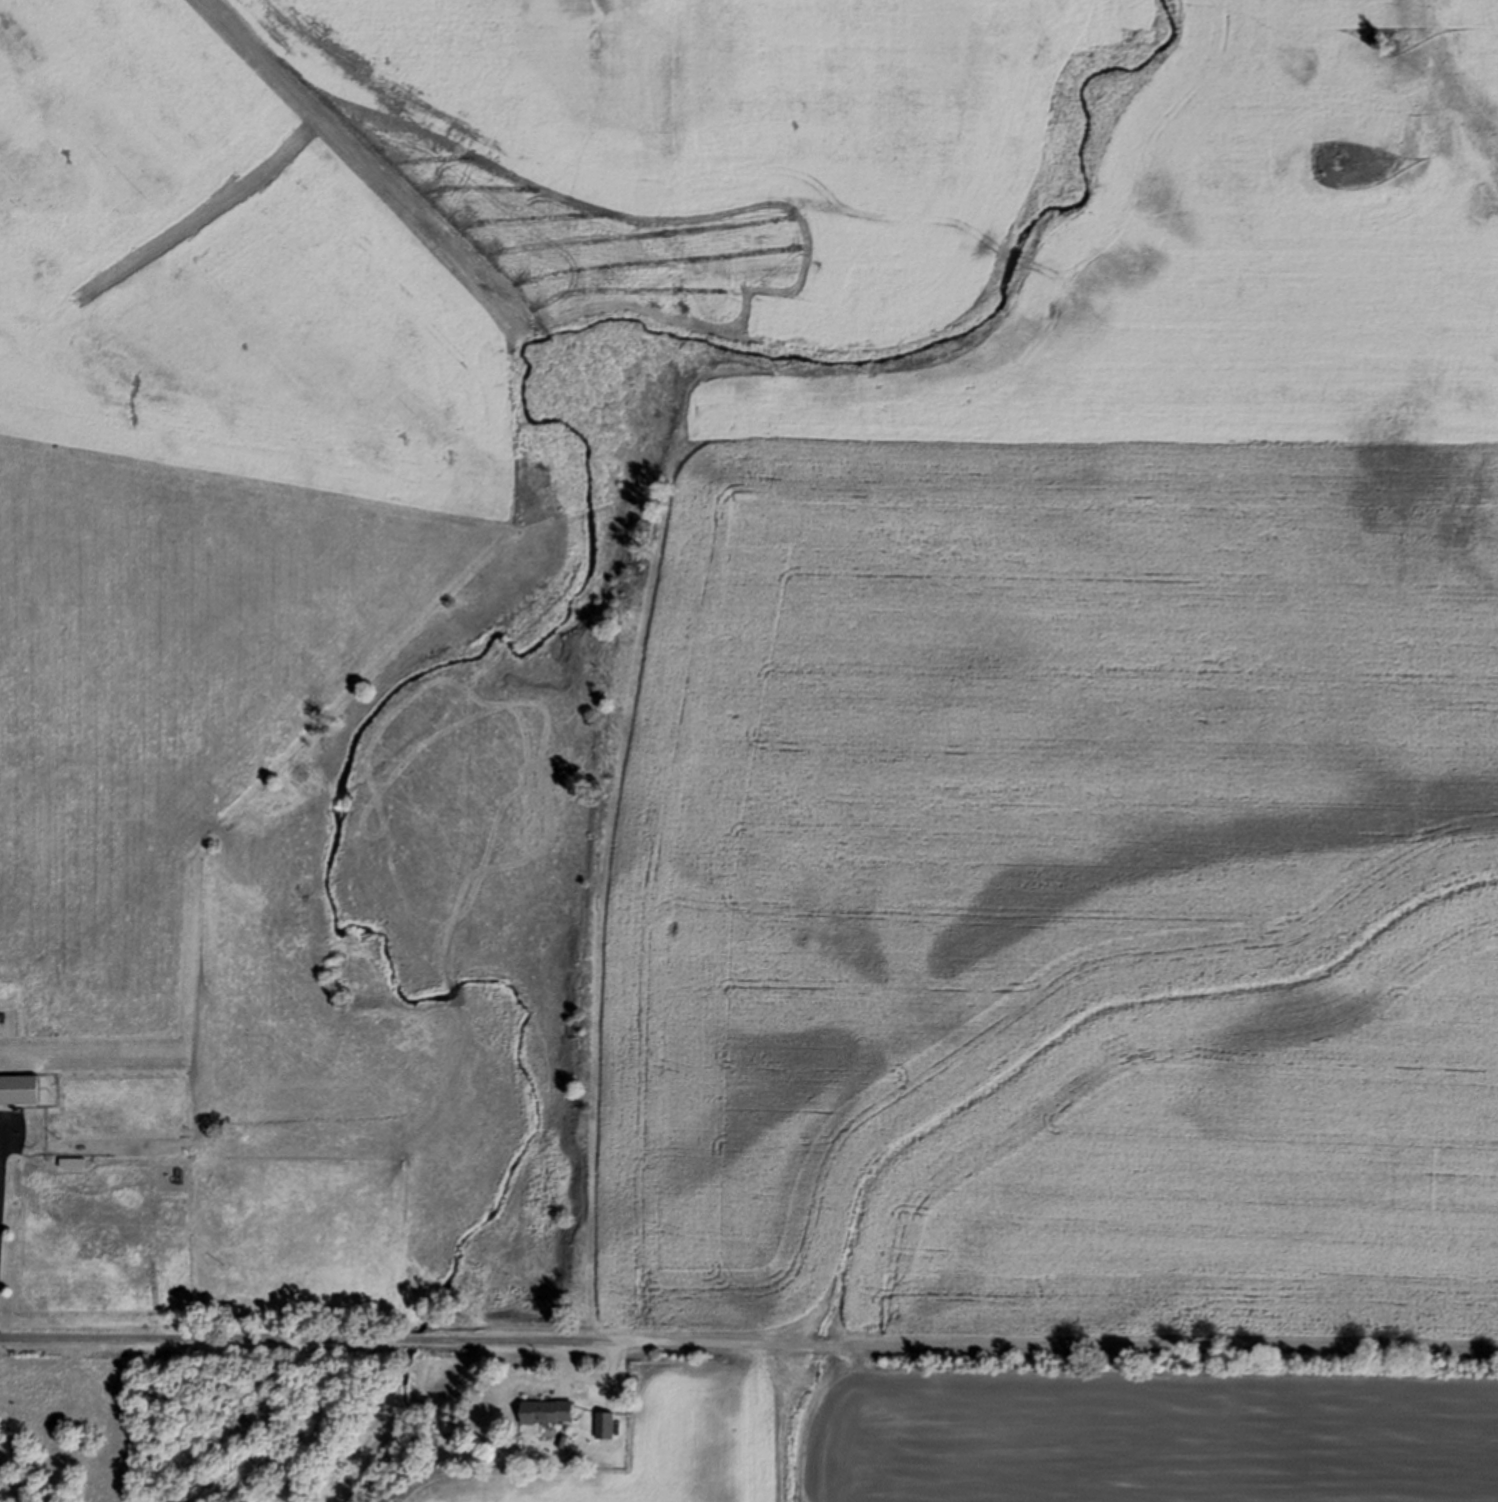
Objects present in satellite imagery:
building: (20, 1087)
building: (70, 1171)
road: (306, 1336)
road: (1054, 1347)
building: (549, 1410)
building: (605, 1424)

